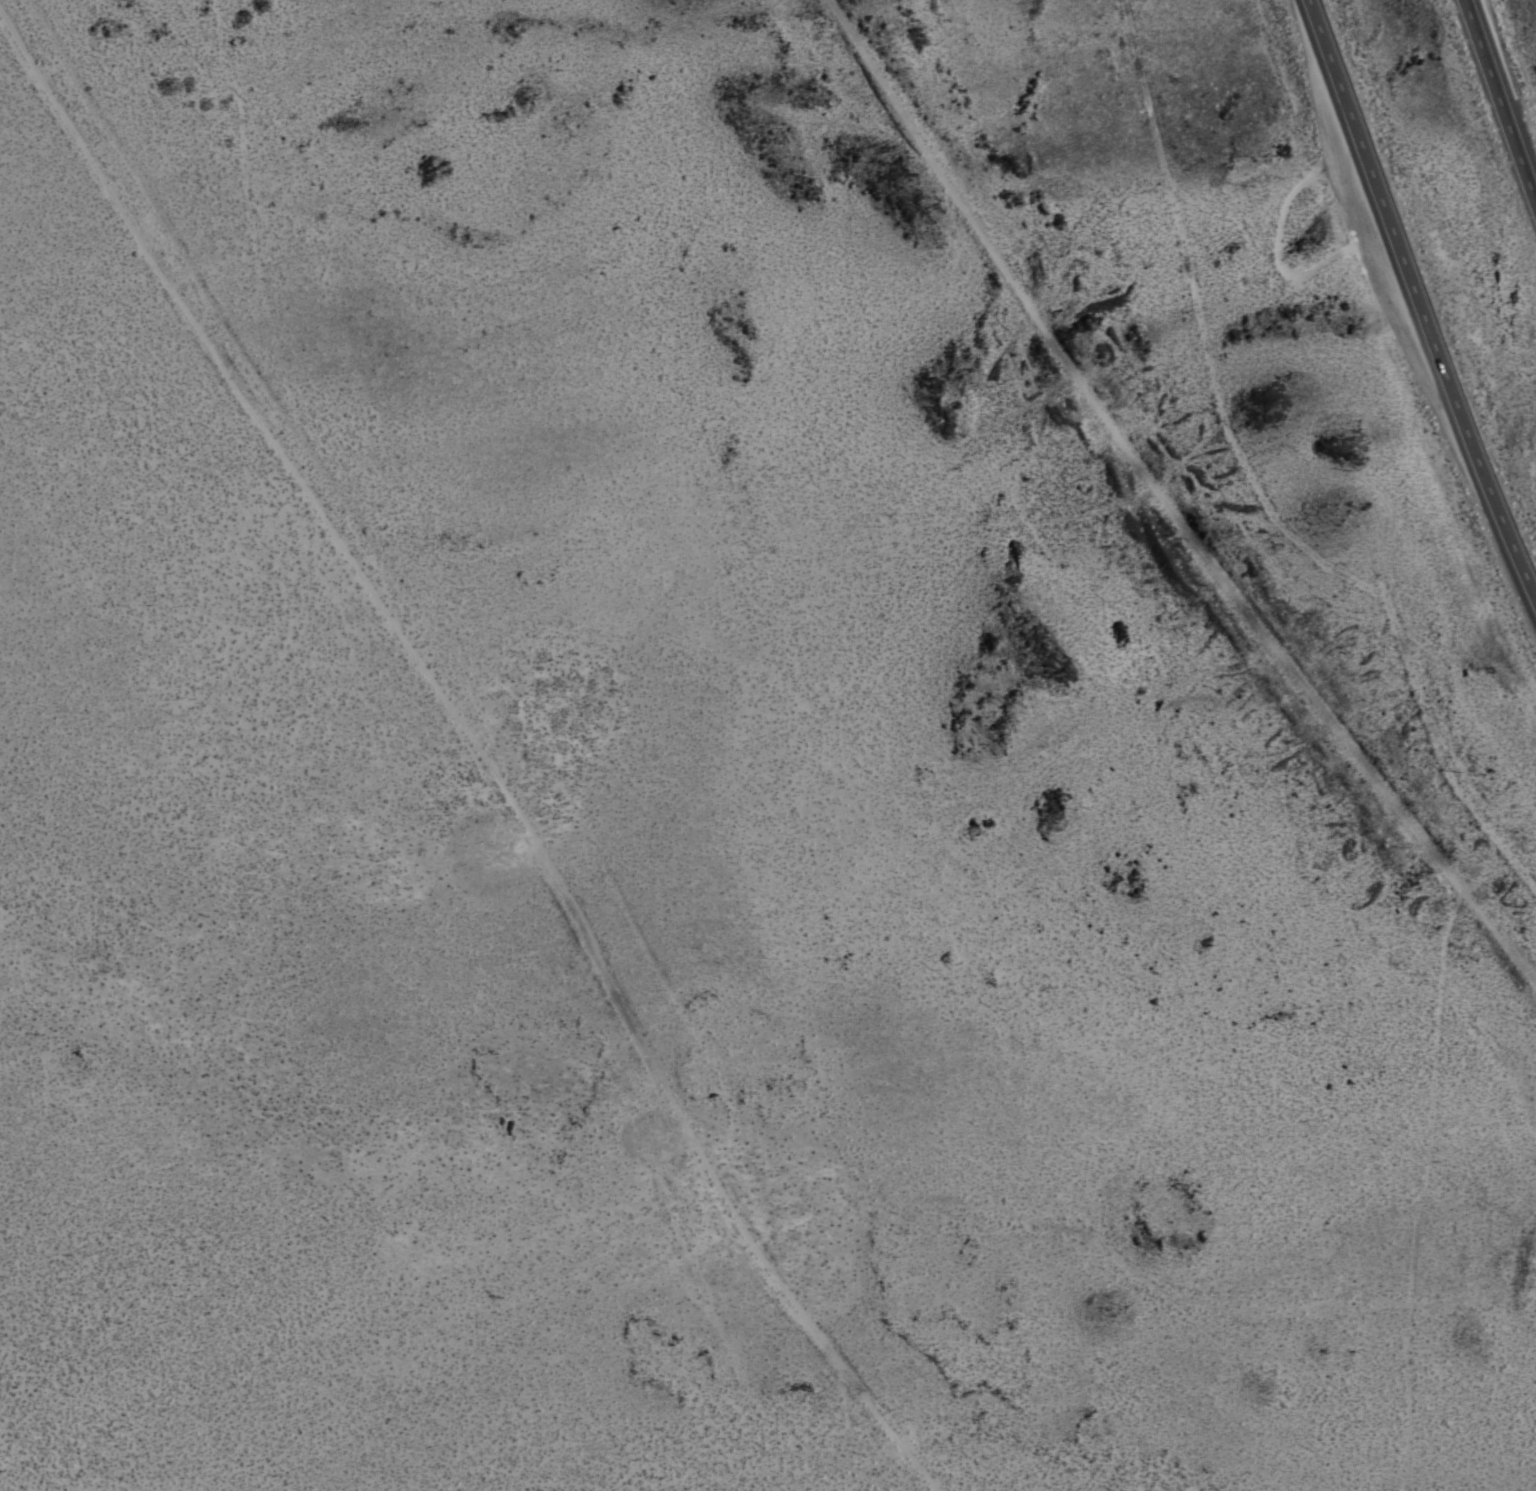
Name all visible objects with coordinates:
road: (1500, 96)
road: (1420, 306)
road: (297, 448)
road: (744, 1207)

